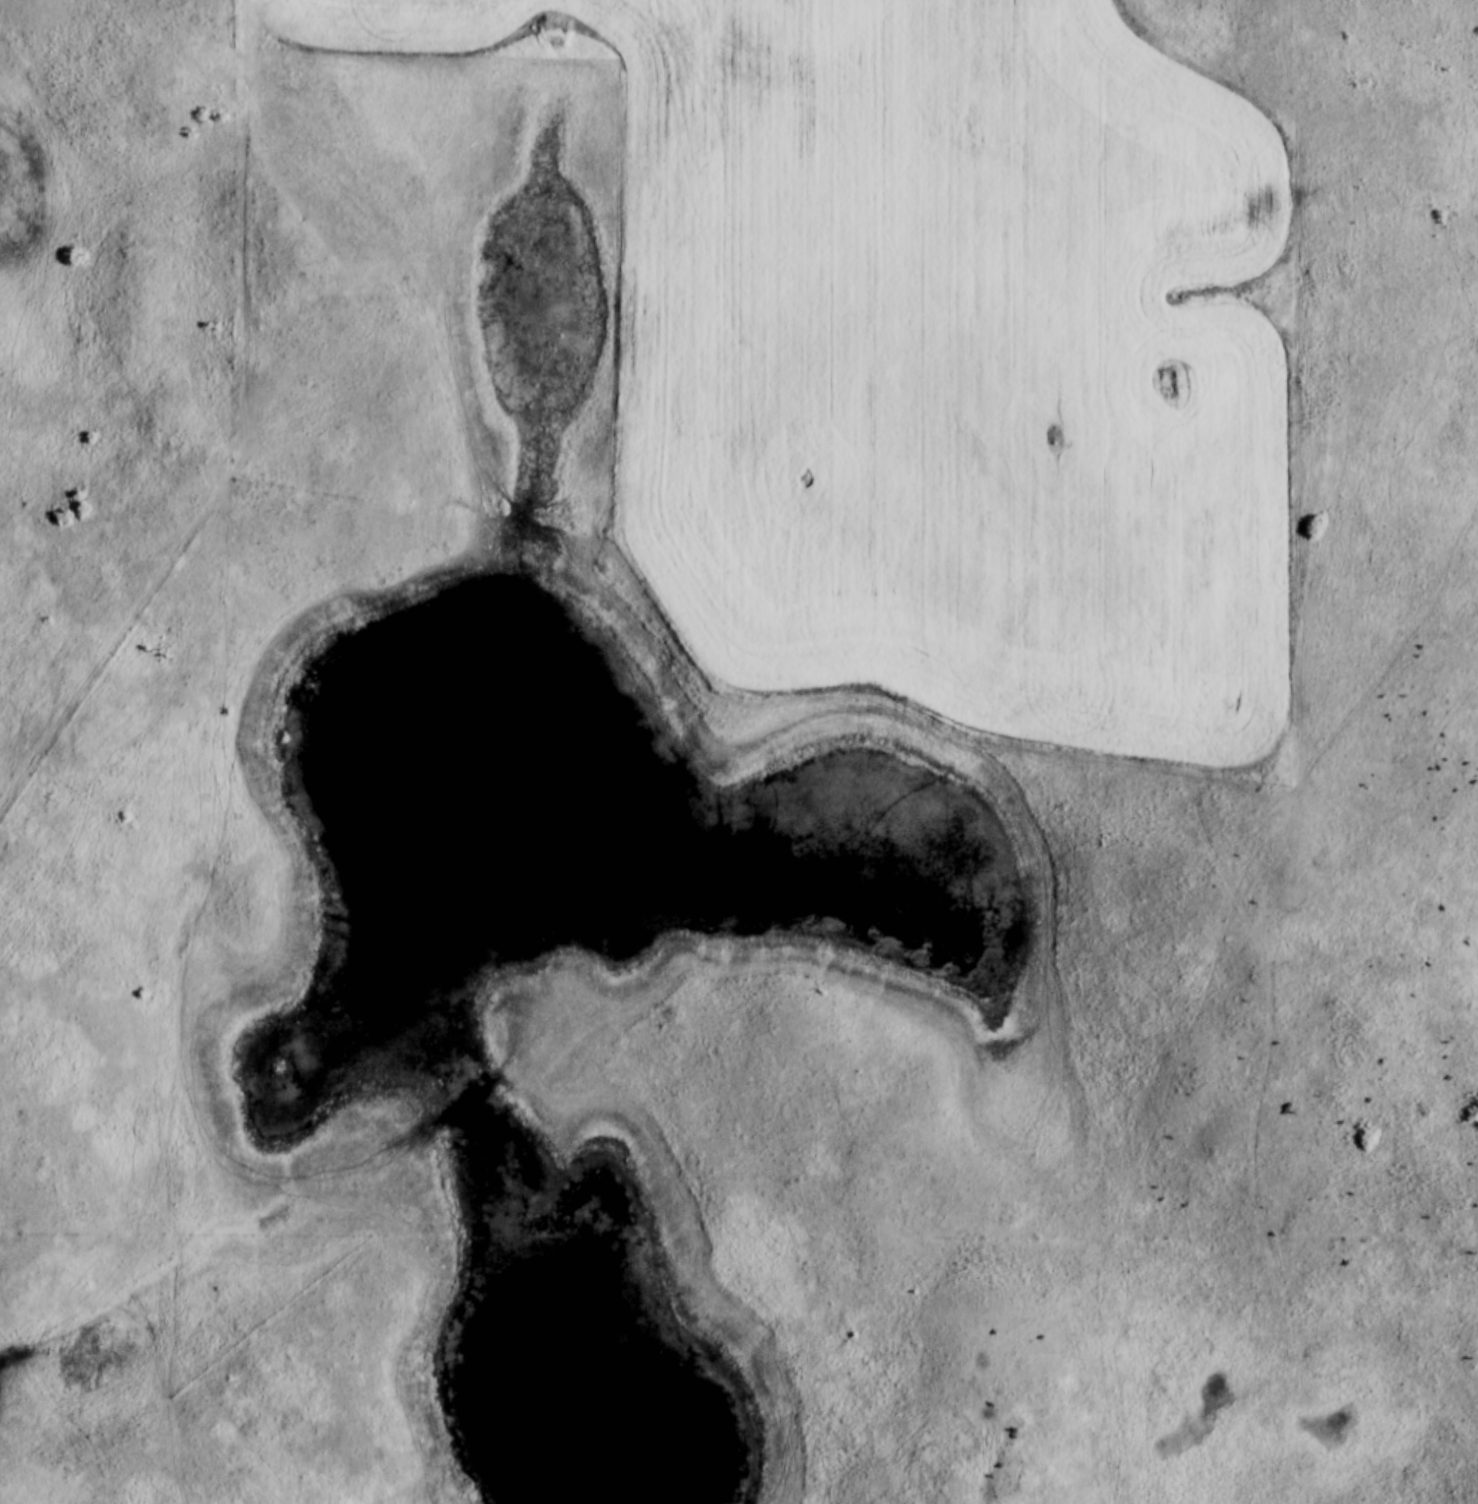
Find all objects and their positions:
road: (251, 442)

